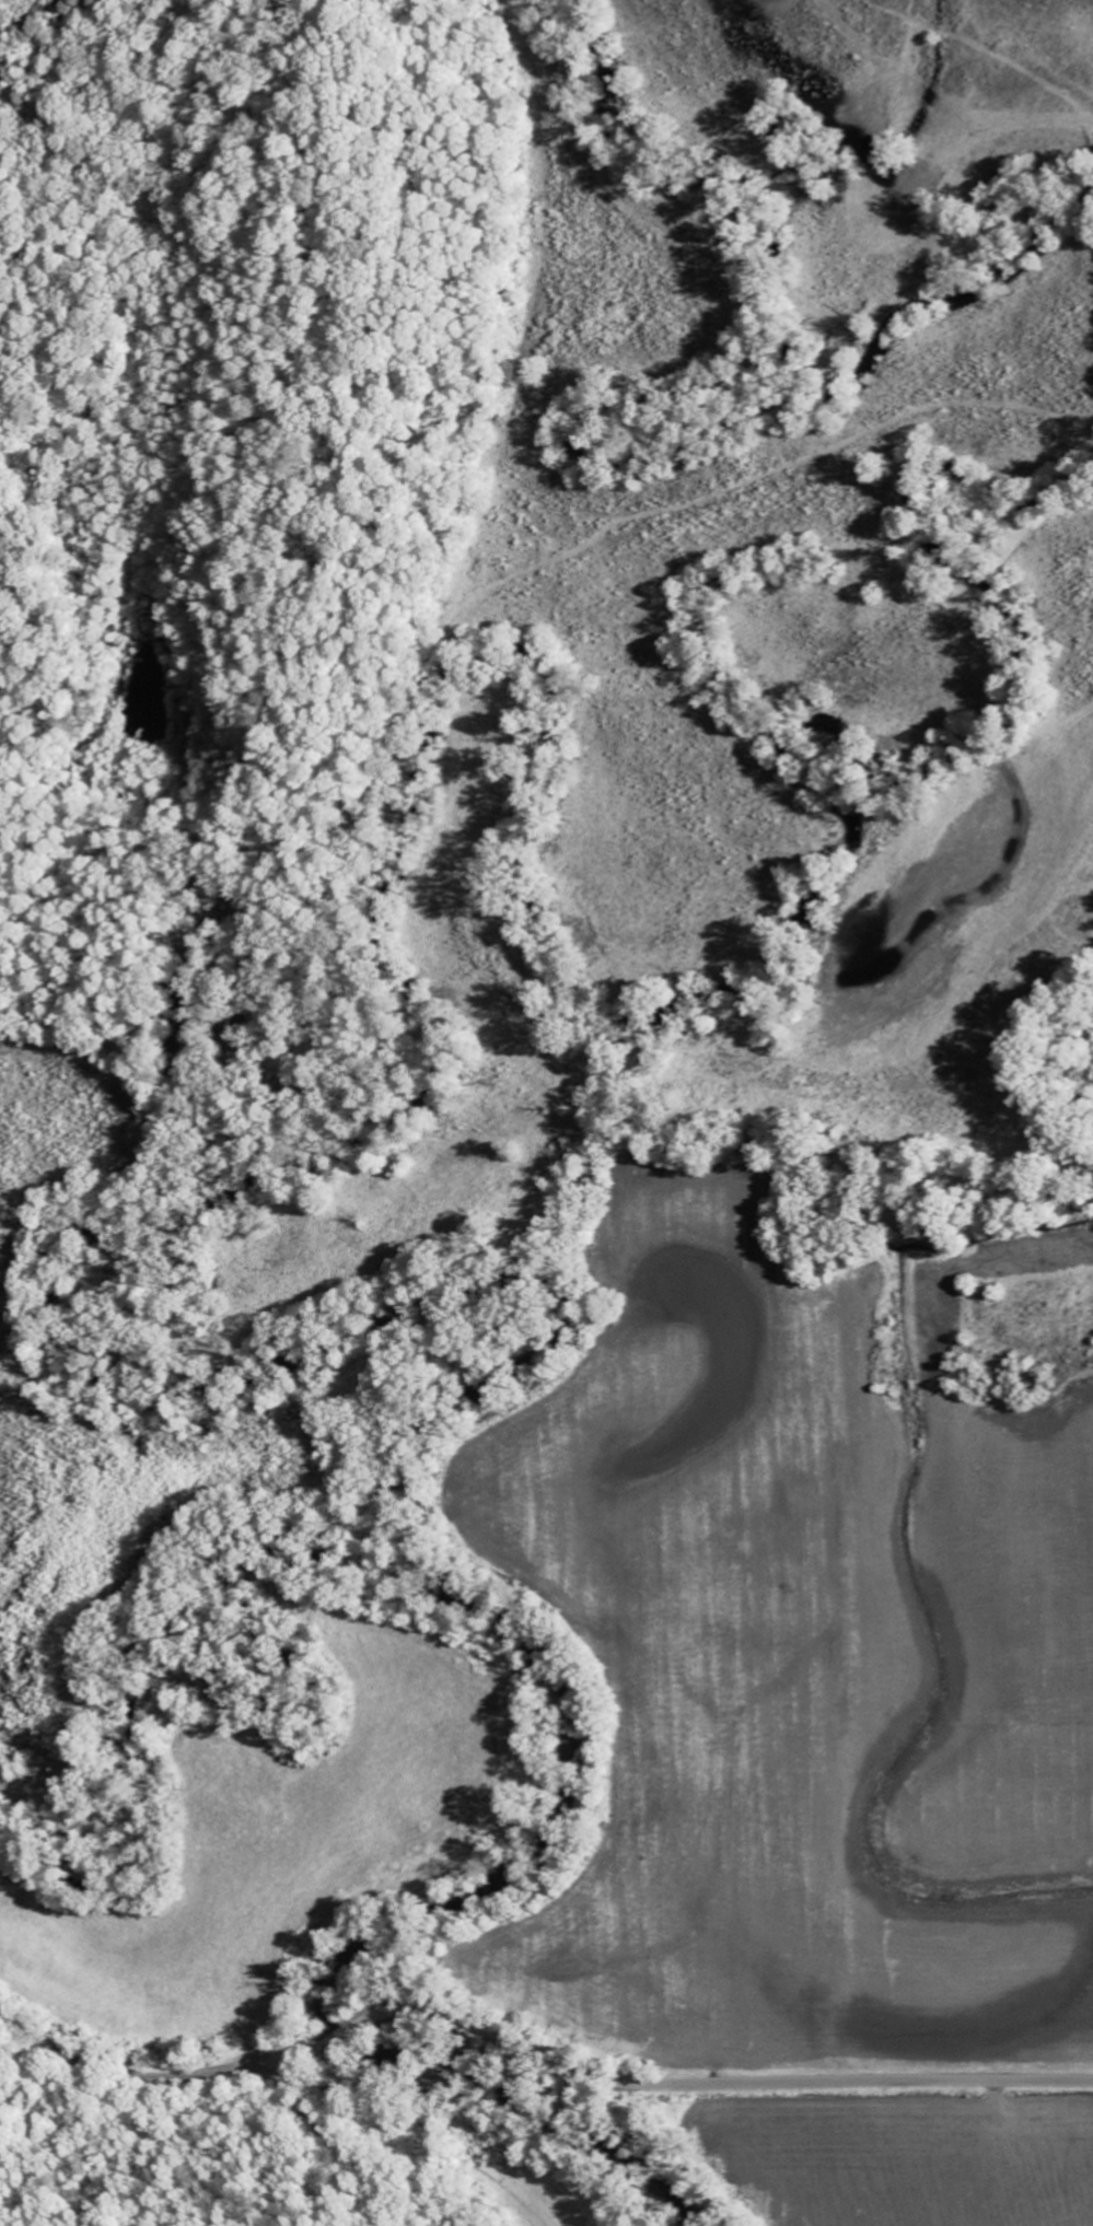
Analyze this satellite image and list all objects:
road: (527, 2053)
road: (339, 2152)

